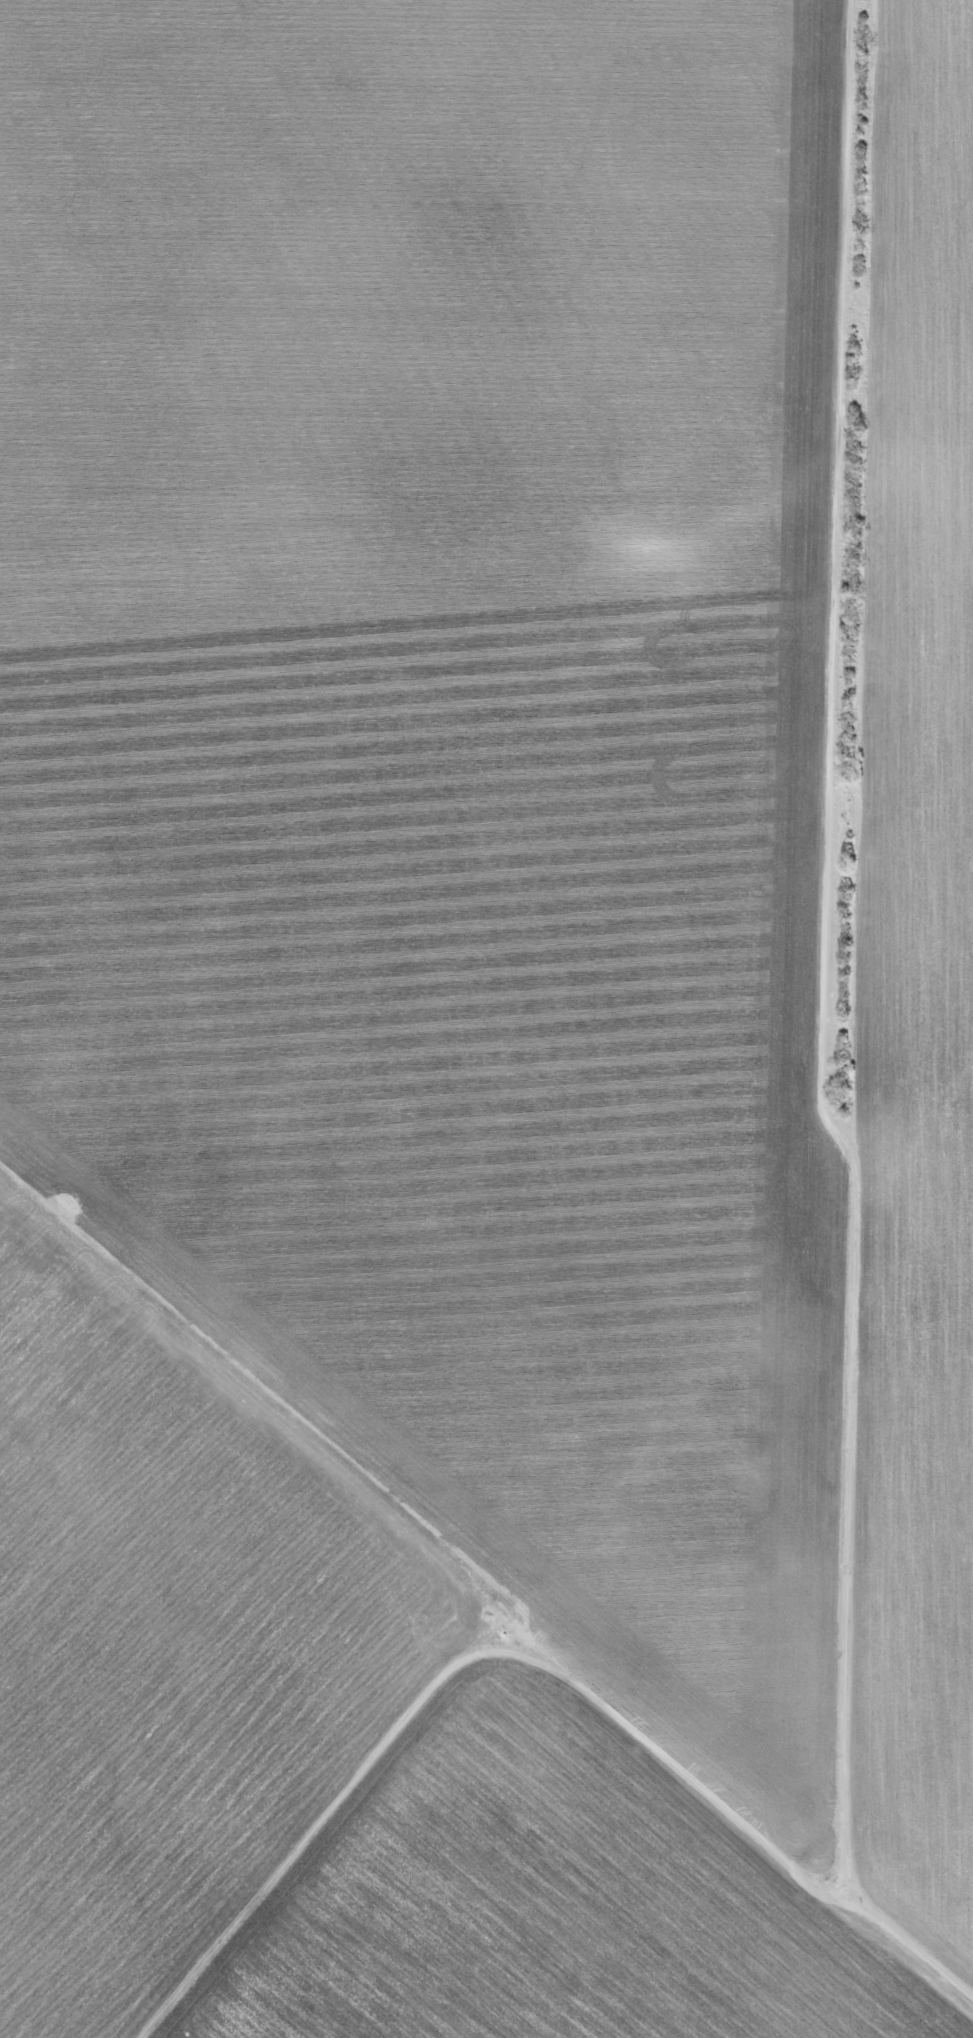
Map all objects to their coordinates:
road: (760, 1814)
road: (318, 1827)

